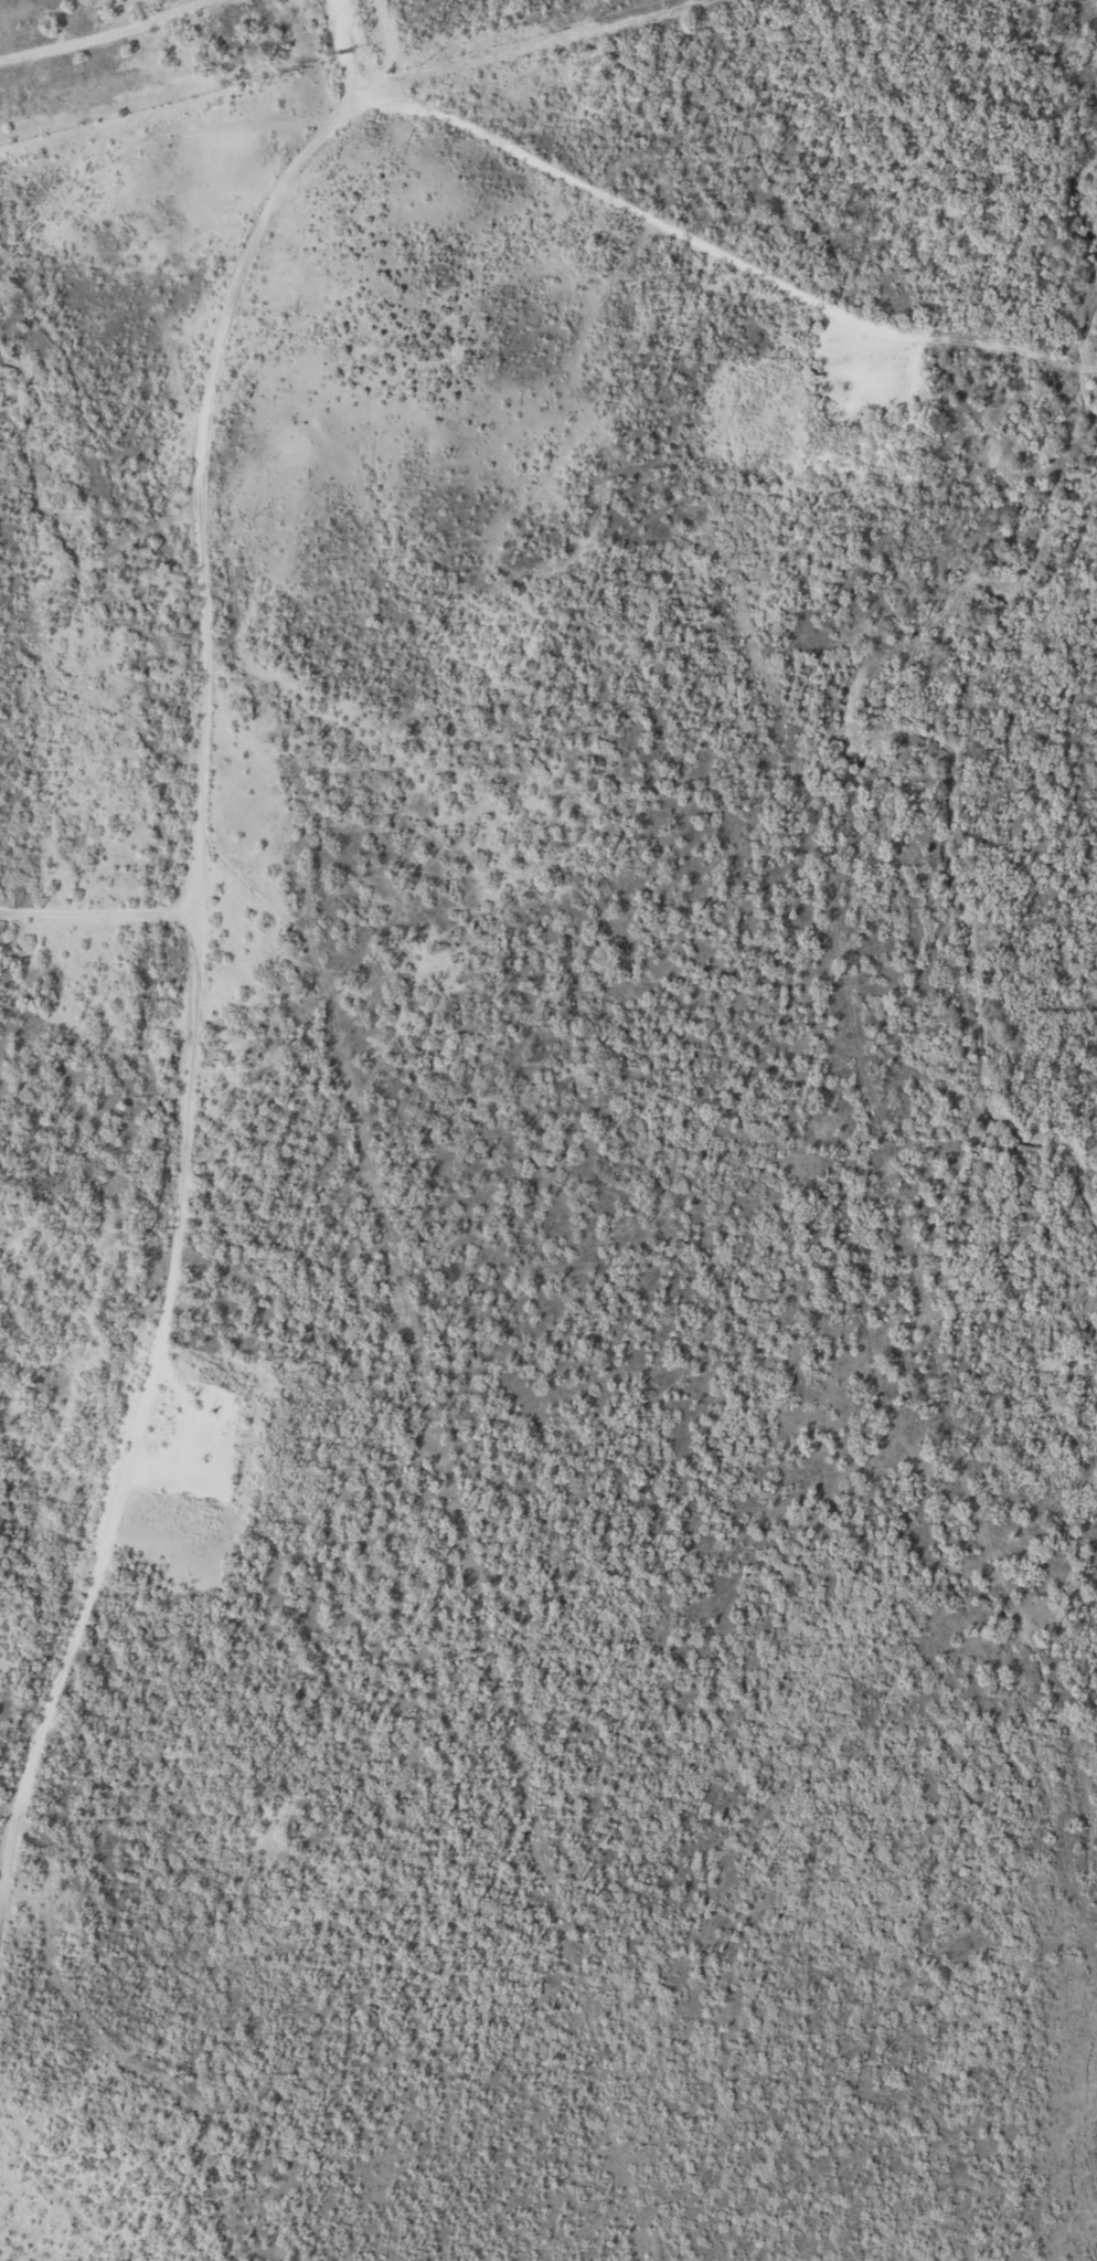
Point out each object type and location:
road: (45, 8)

